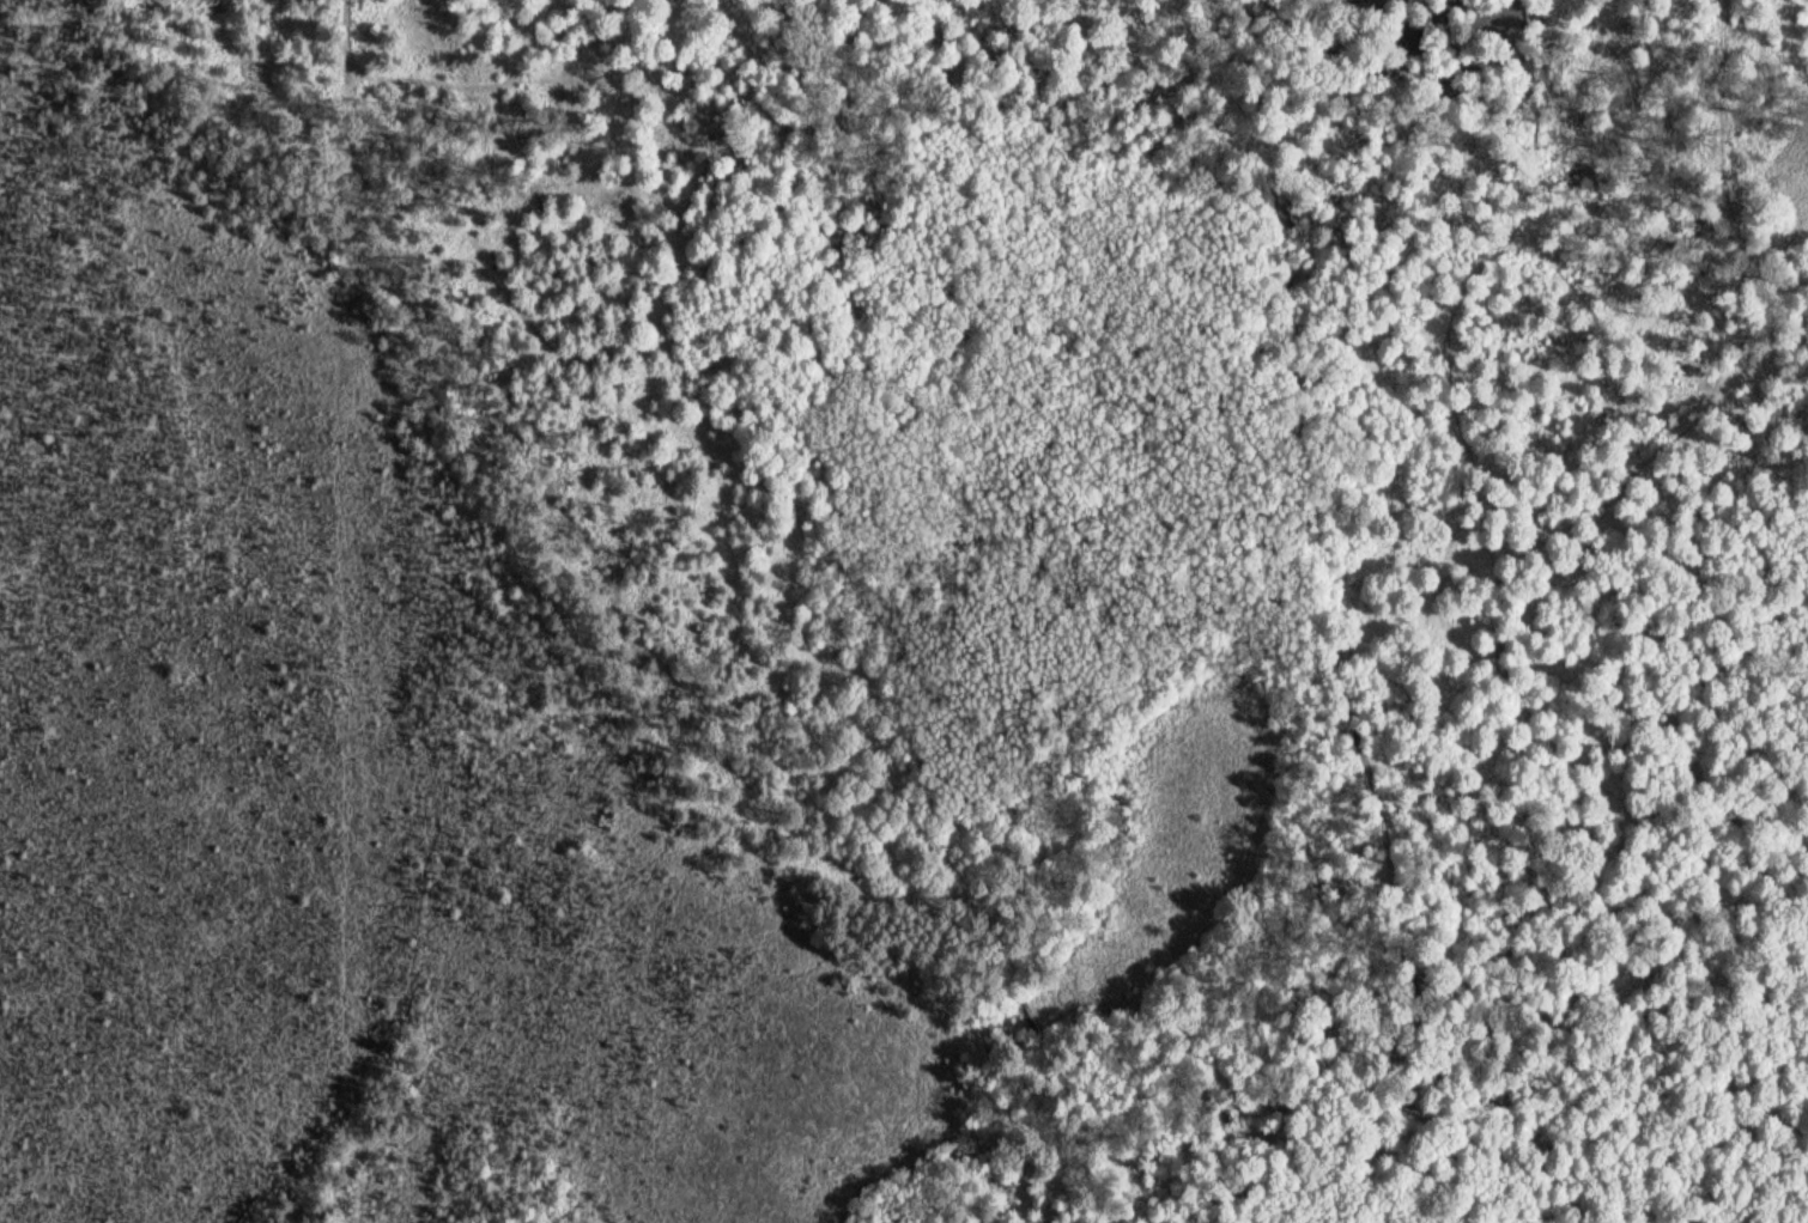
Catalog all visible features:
road: (1327, 617)

